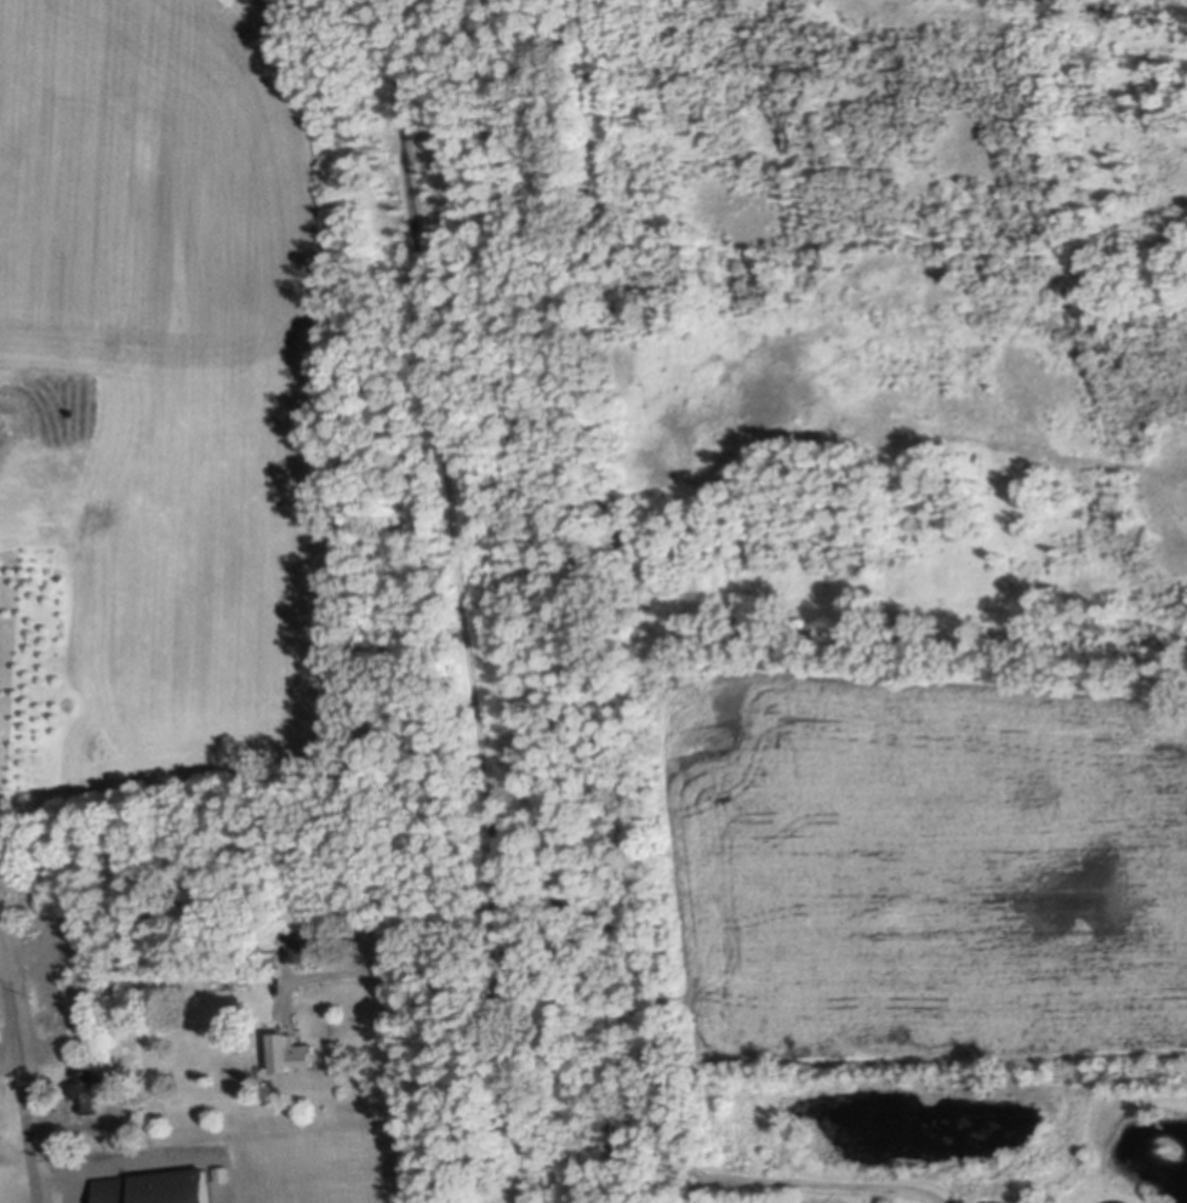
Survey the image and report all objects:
road: (620, 922)
building: (296, 950)
building: (289, 1050)
road: (22, 1059)
building: (84, 1085)
road: (401, 1087)
building: (153, 1186)
road: (685, 1190)
building: (994, 1202)

